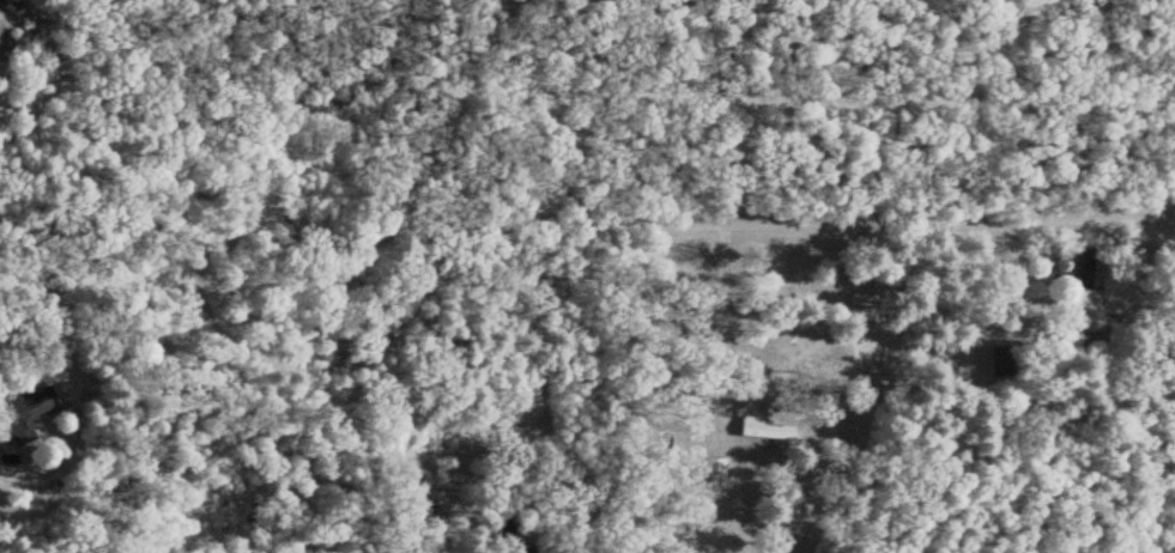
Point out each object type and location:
road: (586, 215)
road: (65, 353)
building: (993, 363)

